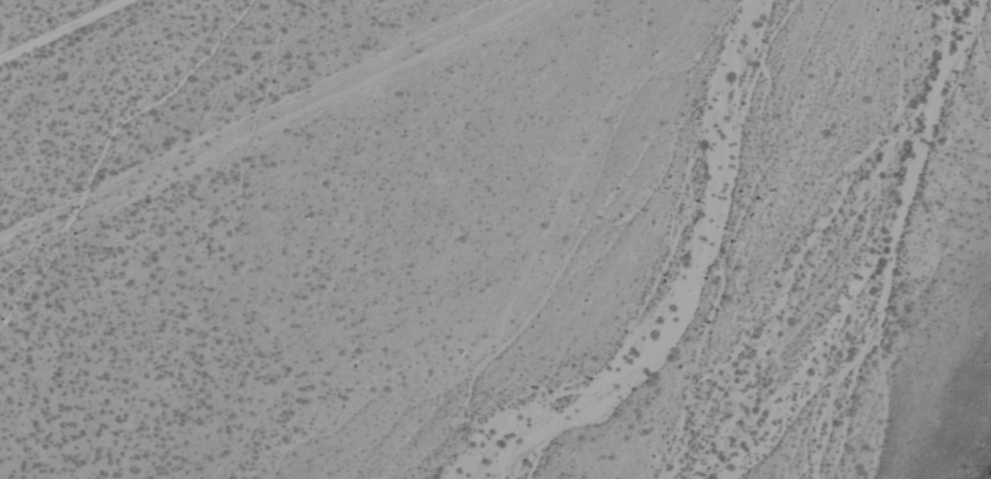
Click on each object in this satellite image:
road: (57, 27)

